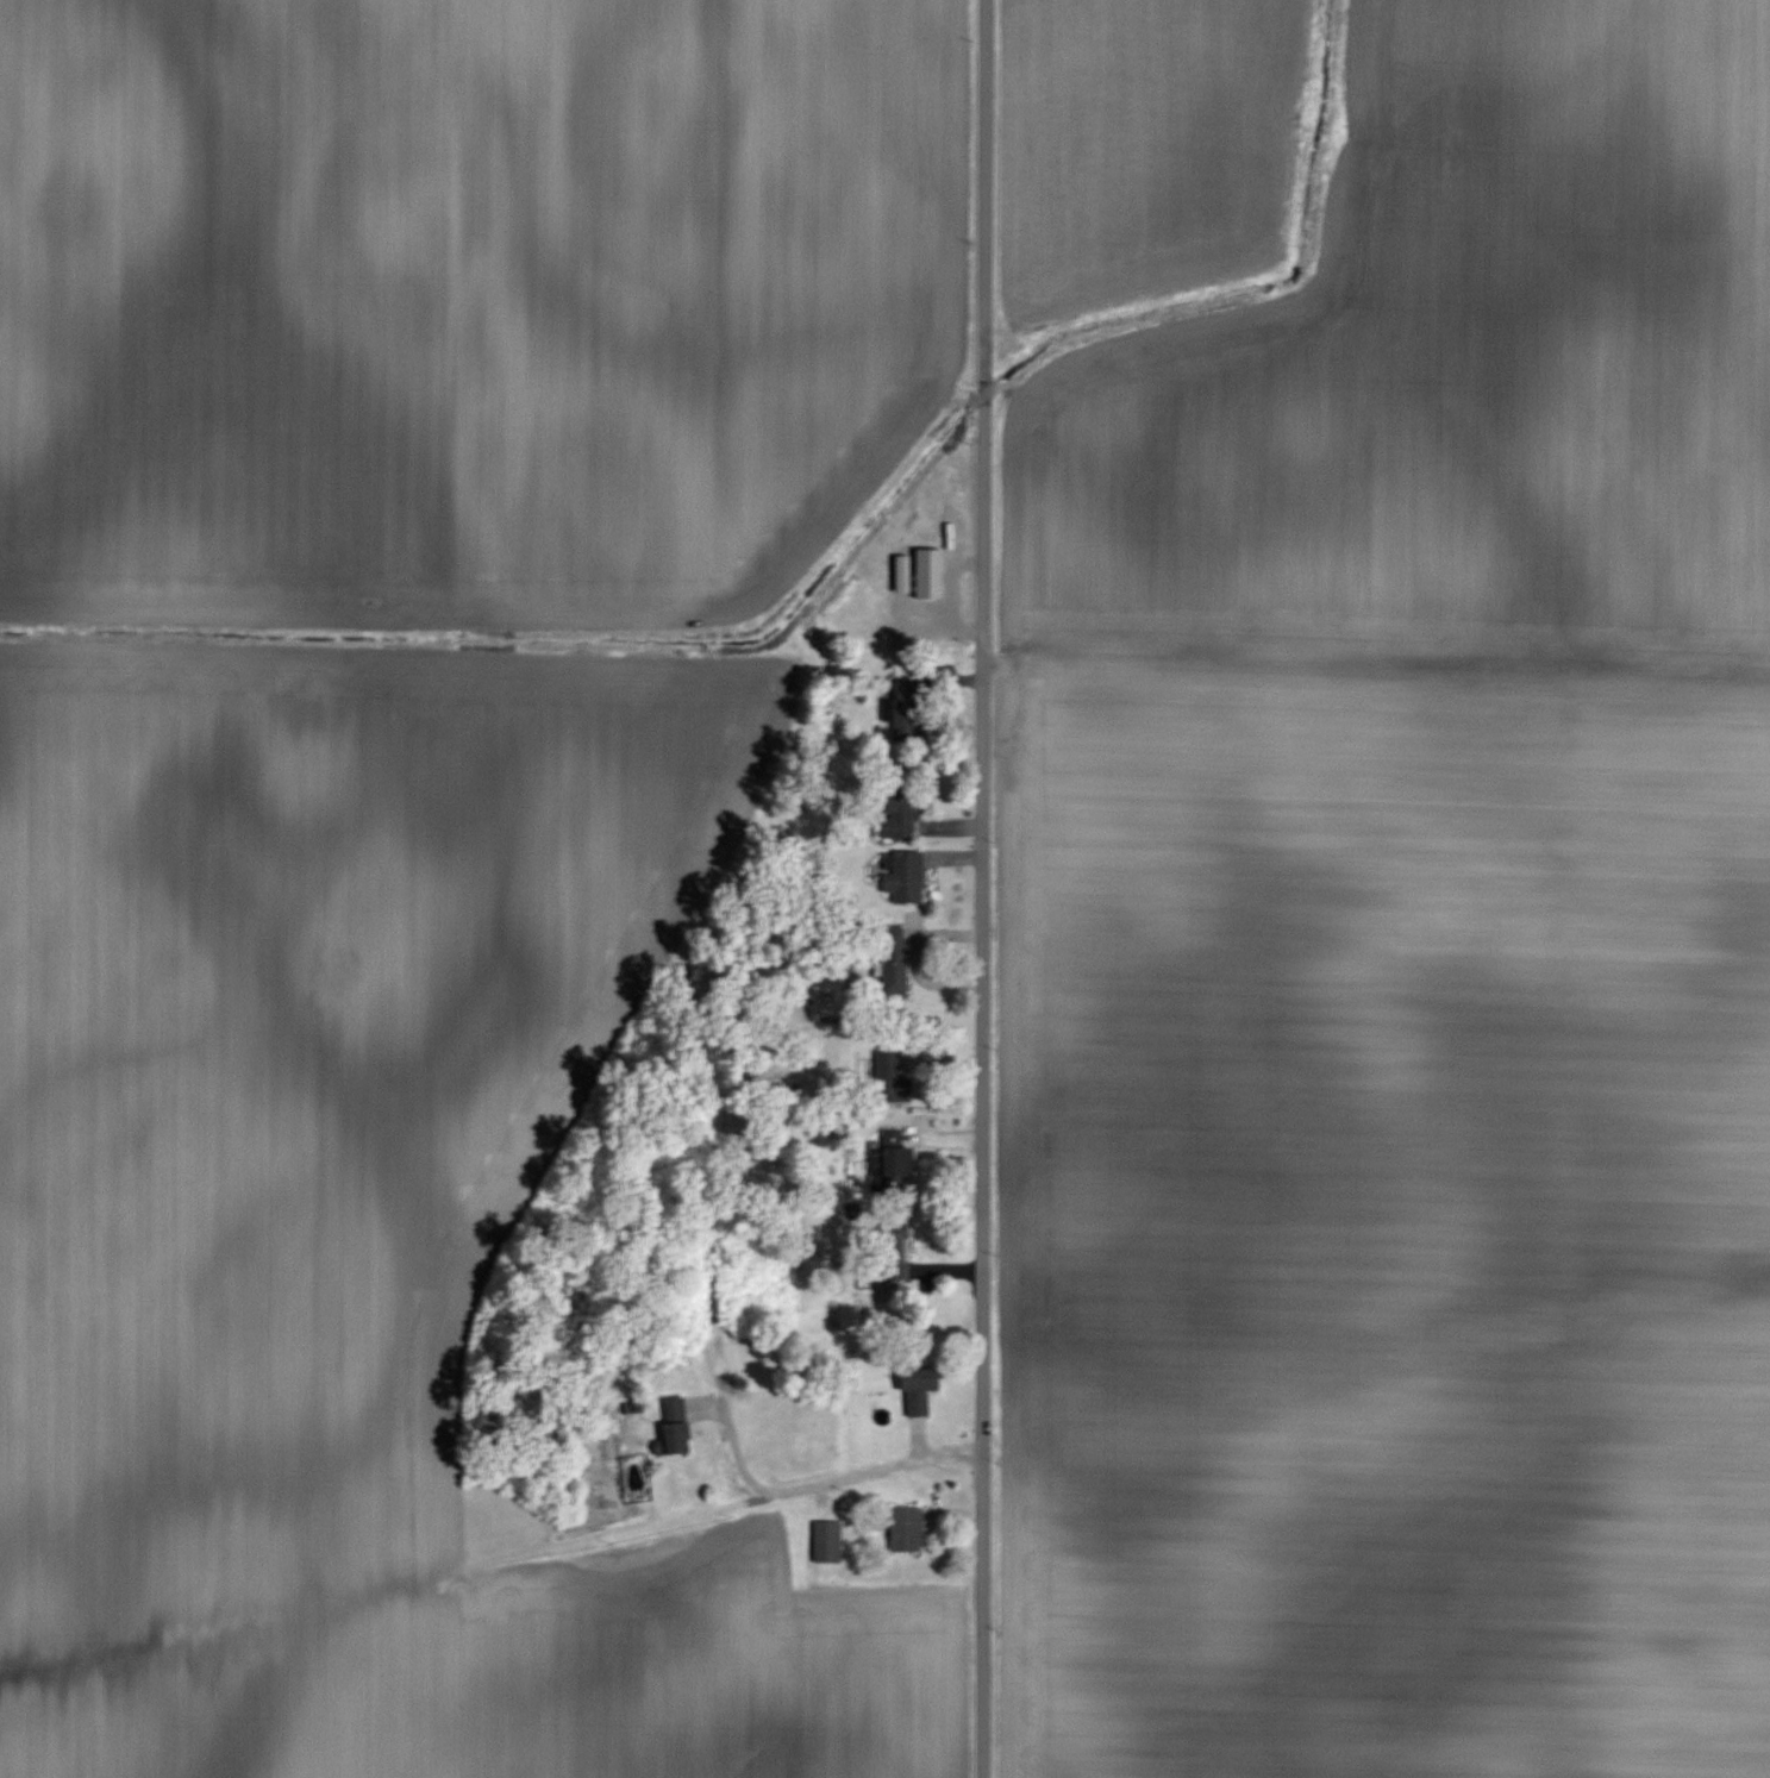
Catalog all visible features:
road: (977, 888)
building: (894, 969)
building: (924, 1389)
building: (676, 1427)
road: (799, 1494)
building: (909, 1529)
building: (830, 1541)

